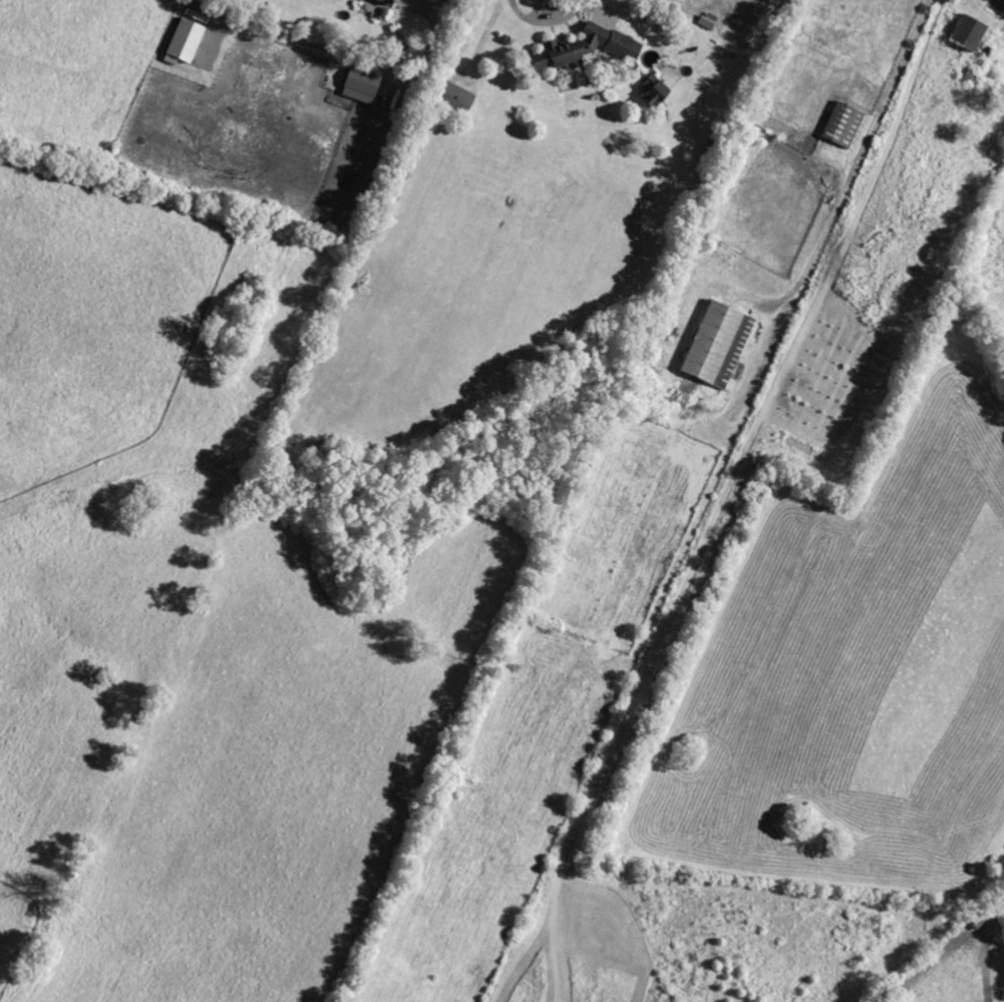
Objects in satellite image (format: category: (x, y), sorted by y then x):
road: (546, 24)
building: (964, 33)
building: (184, 45)
building: (582, 48)
road: (349, 55)
building: (359, 87)
building: (648, 91)
building: (452, 98)
building: (840, 126)
road: (855, 156)
building: (715, 344)

